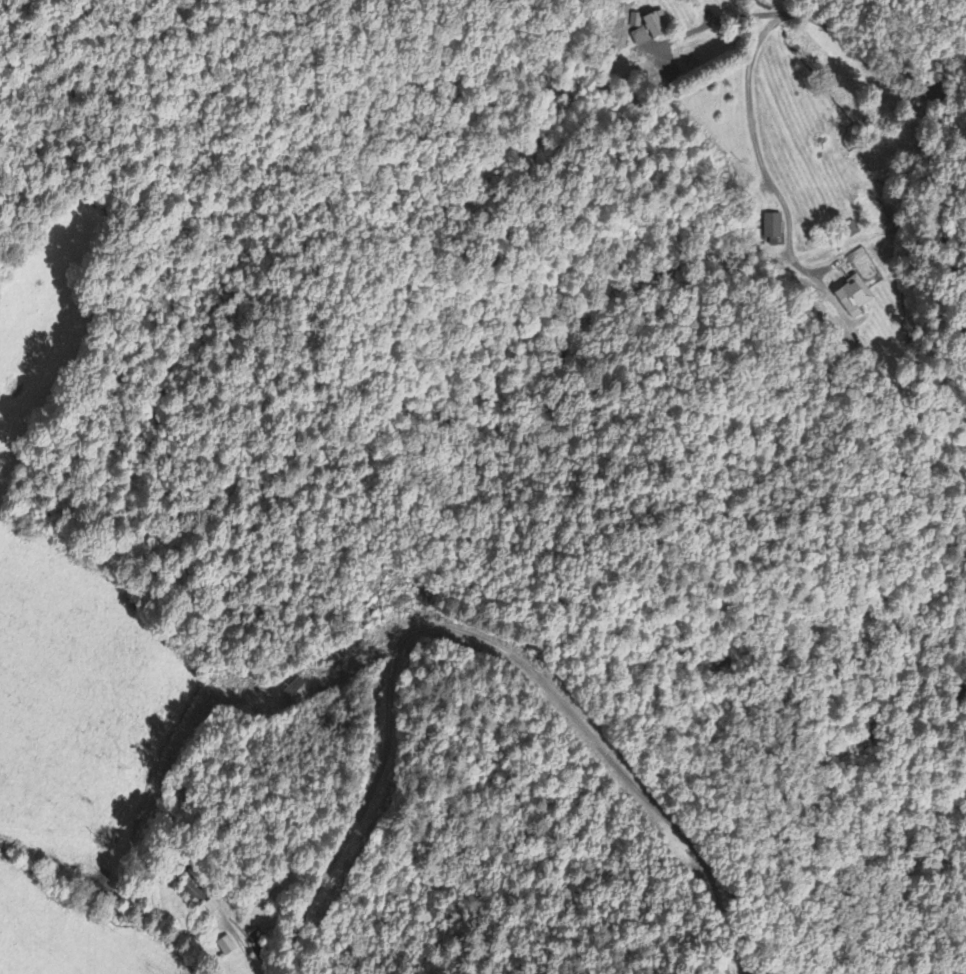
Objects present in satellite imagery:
building: (649, 30)
road: (756, 41)
road: (889, 50)
road: (940, 219)
building: (771, 227)
building: (857, 286)
road: (415, 630)
building: (226, 947)
road: (247, 947)

